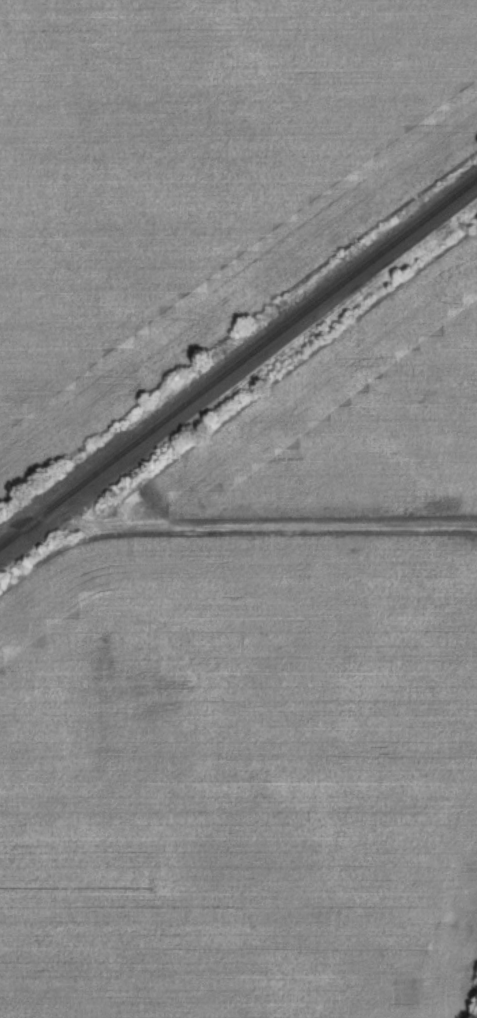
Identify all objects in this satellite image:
railway: (238, 373)

